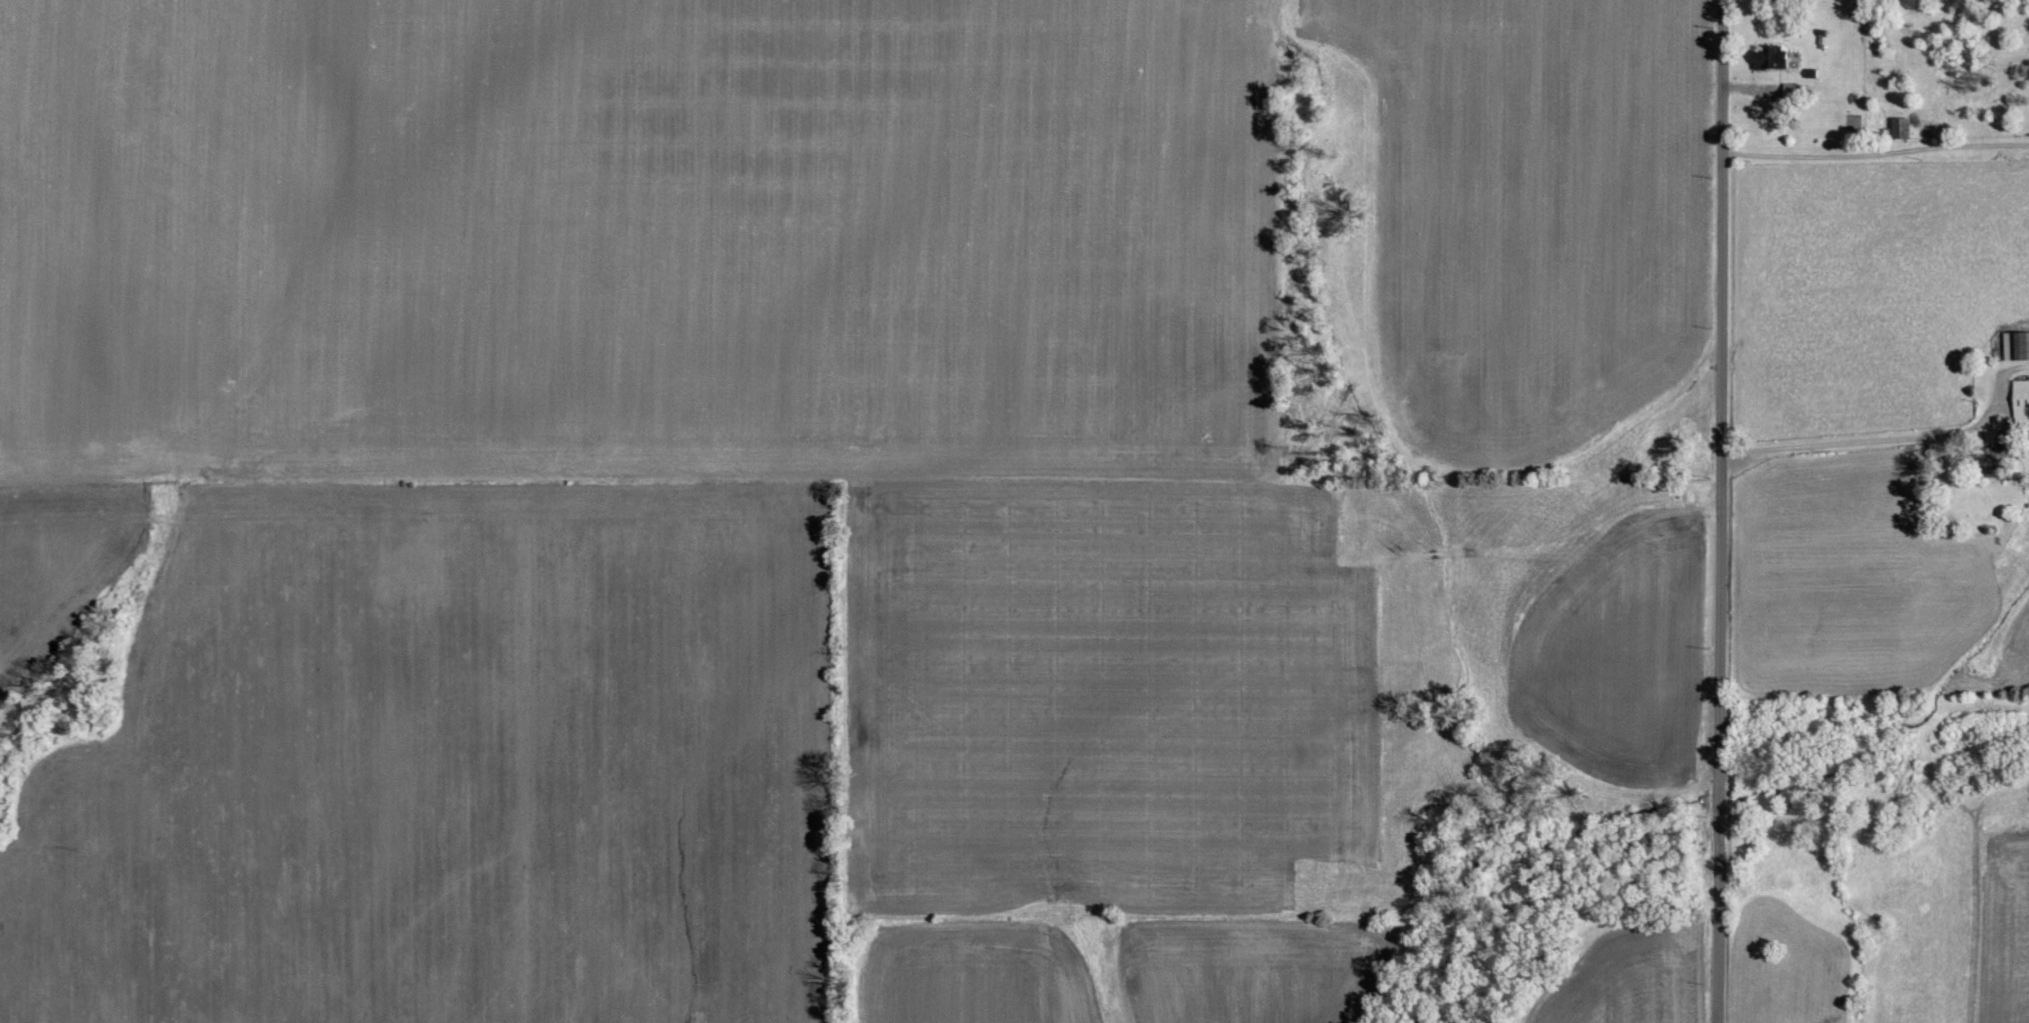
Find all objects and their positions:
building: (1770, 57)
building: (1790, 88)
building: (1903, 127)
building: (2021, 345)
road: (1722, 391)
building: (2022, 398)
building: (1993, 450)
road: (1721, 797)
road: (1720, 917)
crop: (2002, 929)

